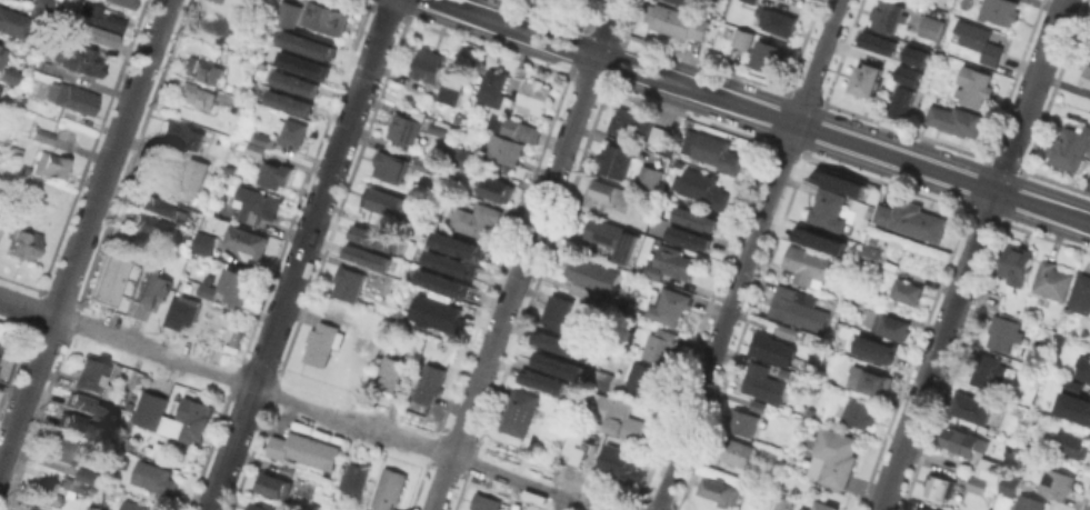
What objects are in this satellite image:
building: (219, 0)
building: (222, 0)
building: (569, 0)
building: (578, 0)
building: (753, 1)
building: (124, 2)
building: (682, 2)
building: (38, 7)
building: (1000, 11)
building: (289, 13)
building: (100, 16)
building: (889, 16)
building: (327, 17)
building: (778, 20)
building: (9, 21)
building: (217, 23)
building: (680, 23)
building: (931, 30)
building: (744, 37)
building: (91, 39)
building: (978, 40)
building: (877, 41)
building: (306, 43)
building: (1089, 50)
building: (766, 54)
building: (913, 54)
building: (2, 56)
building: (74, 61)
building: (302, 63)
building: (430, 64)
building: (208, 66)
building: (907, 73)
building: (9, 74)
building: (1086, 74)
building: (868, 78)
building: (293, 82)
building: (0, 84)
building: (974, 84)
building: (497, 90)
building: (196, 93)
building: (449, 93)
building: (534, 96)
building: (71, 97)
building: (287, 101)
building: (901, 101)
building: (234, 108)
road: (761, 111)
building: (956, 119)
building: (631, 121)
building: (513, 127)
building: (406, 128)
building: (439, 128)
building: (294, 132)
building: (42, 133)
building: (179, 133)
building: (263, 138)
building: (662, 138)
building: (2, 139)
building: (1070, 147)
building: (257, 148)
building: (504, 148)
building: (14, 150)
building: (712, 152)
building: (459, 156)
building: (617, 160)
building: (422, 164)
building: (50, 166)
building: (391, 166)
building: (276, 173)
building: (650, 177)
building: (180, 180)
building: (842, 180)
building: (703, 187)
building: (496, 188)
building: (609, 191)
building: (386, 201)
building: (253, 206)
building: (829, 208)
building: (158, 214)
building: (698, 216)
building: (911, 218)
building: (474, 219)
building: (150, 233)
road: (84, 234)
building: (690, 234)
building: (611, 237)
building: (374, 238)
building: (821, 239)
building: (247, 240)
building: (23, 242)
building: (204, 242)
building: (456, 243)
road: (300, 254)
road: (524, 254)
road: (746, 254)
road: (972, 254)
building: (368, 258)
building: (667, 262)
building: (449, 263)
building: (1017, 263)
building: (808, 264)
building: (589, 271)
building: (109, 278)
building: (348, 282)
building: (442, 282)
building: (1051, 282)
building: (239, 283)
building: (209, 290)
building: (908, 290)
building: (152, 292)
building: (391, 292)
building: (1080, 293)
building: (593, 294)
building: (859, 300)
building: (669, 304)
building: (797, 307)
road: (27, 308)
building: (559, 311)
building: (434, 312)
building: (343, 313)
building: (188, 314)
building: (888, 323)
building: (789, 330)
building: (1003, 331)
building: (320, 341)
building: (553, 341)
building: (659, 343)
building: (364, 346)
building: (768, 346)
building: (0, 348)
building: (878, 349)
building: (556, 363)
building: (1084, 368)
building: (989, 370)
building: (391, 372)
building: (94, 377)
building: (648, 377)
building: (603, 379)
building: (870, 379)
building: (541, 380)
building: (764, 380)
building: (429, 383)
building: (1076, 402)
building: (90, 404)
building: (757, 404)
building: (971, 407)
building: (151, 408)
building: (520, 411)
building: (860, 412)
building: (618, 416)
road: (334, 419)
building: (188, 420)
building: (742, 421)
building: (83, 424)
building: (964, 441)
building: (1028, 441)
building: (1072, 443)
building: (579, 446)
building: (62, 447)
building: (304, 449)
building: (736, 450)
building: (838, 458)
building: (617, 462)
building: (991, 469)
building: (89, 474)
building: (154, 477)
building: (356, 479)
building: (1060, 480)
building: (978, 483)
building: (274, 484)
building: (1010, 484)
building: (76, 486)
building: (943, 486)
building: (389, 489)
building: (720, 489)
building: (48, 491)
building: (750, 491)
building: (486, 501)
building: (784, 502)
building: (1031, 502)
building: (827, 504)
building: (134, 506)
building: (264, 507)
building: (807, 508)
building: (28, 509)
building: (31, 509)
building: (801, 509)
building: (921, 509)
building: (927, 509)

